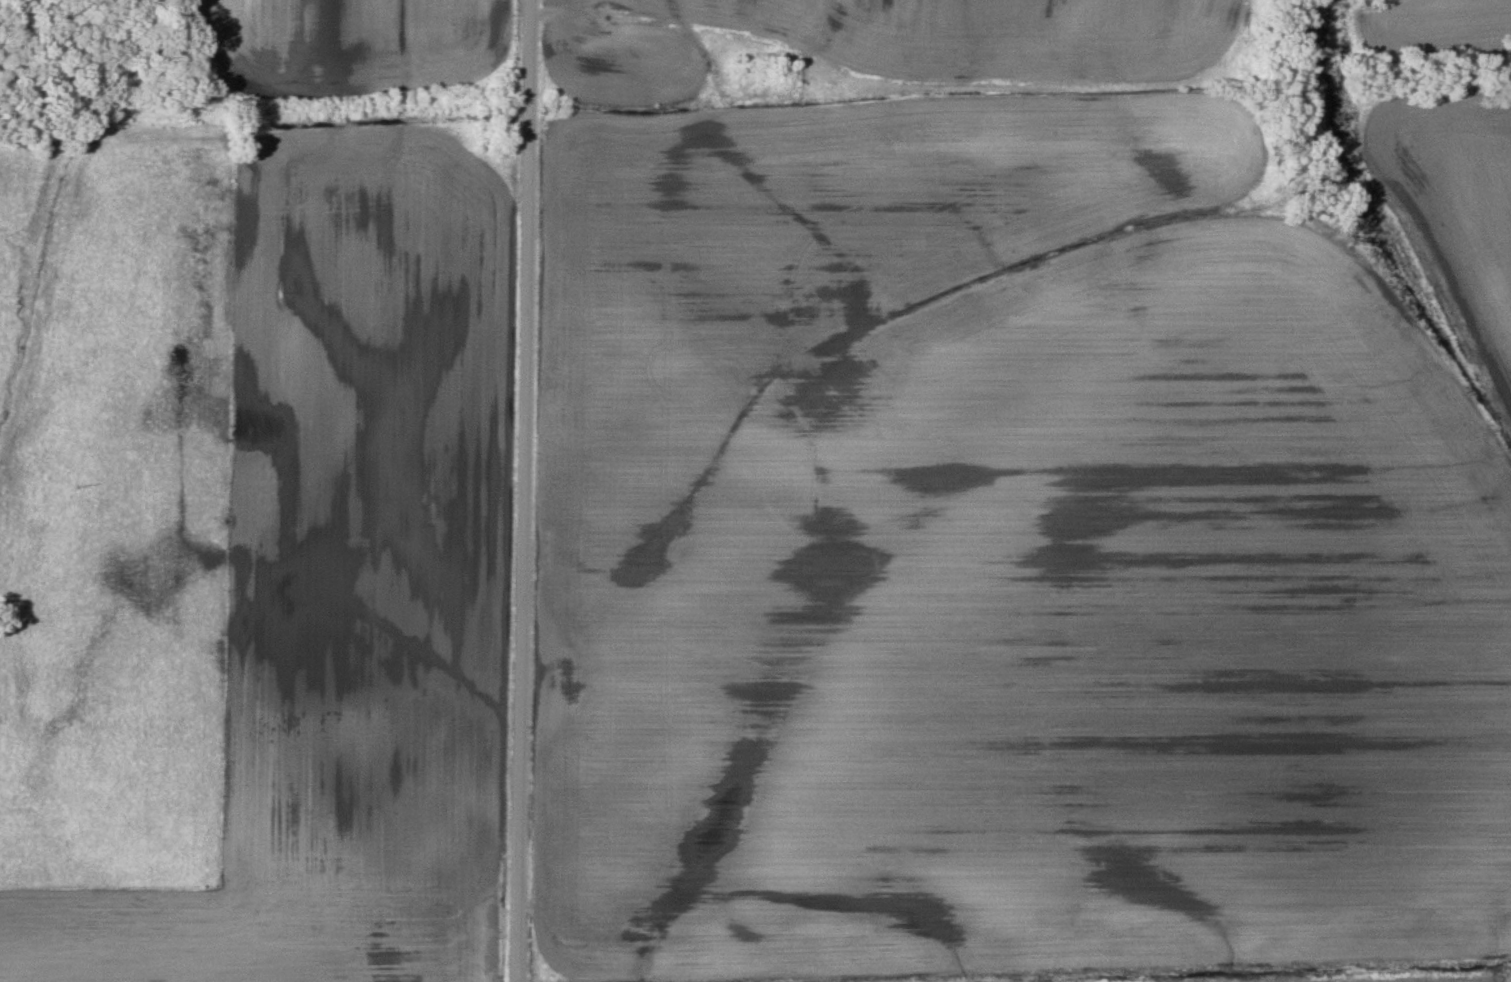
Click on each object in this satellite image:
road: (526, 491)
crop: (1000, 559)

